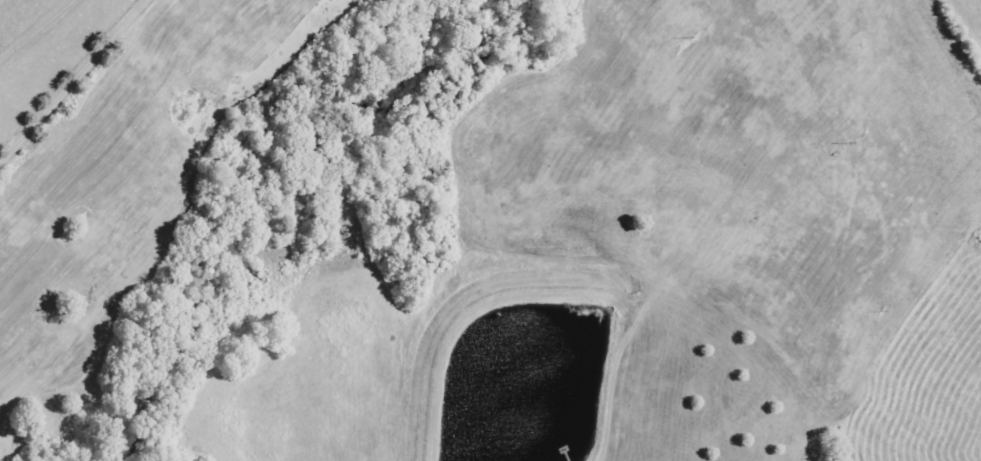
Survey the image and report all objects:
road: (32, 27)
road: (73, 82)

